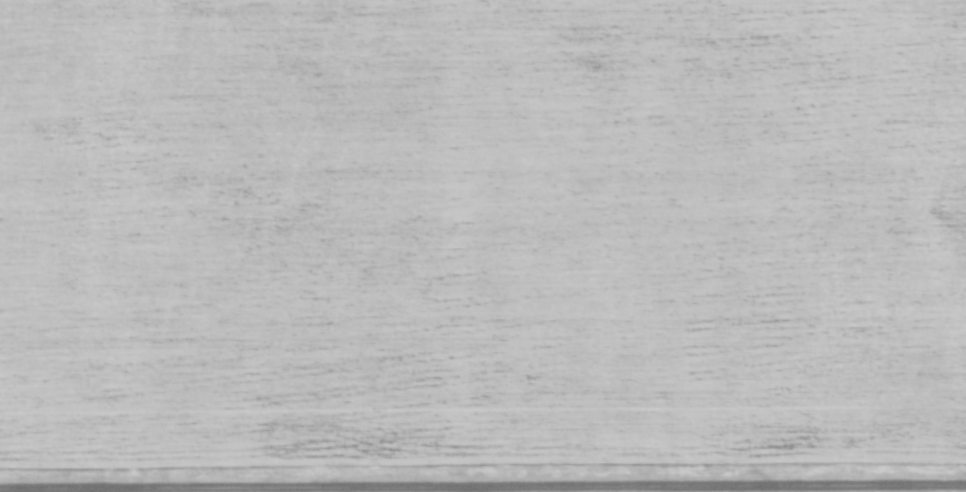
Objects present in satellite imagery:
road: (483, 489)

